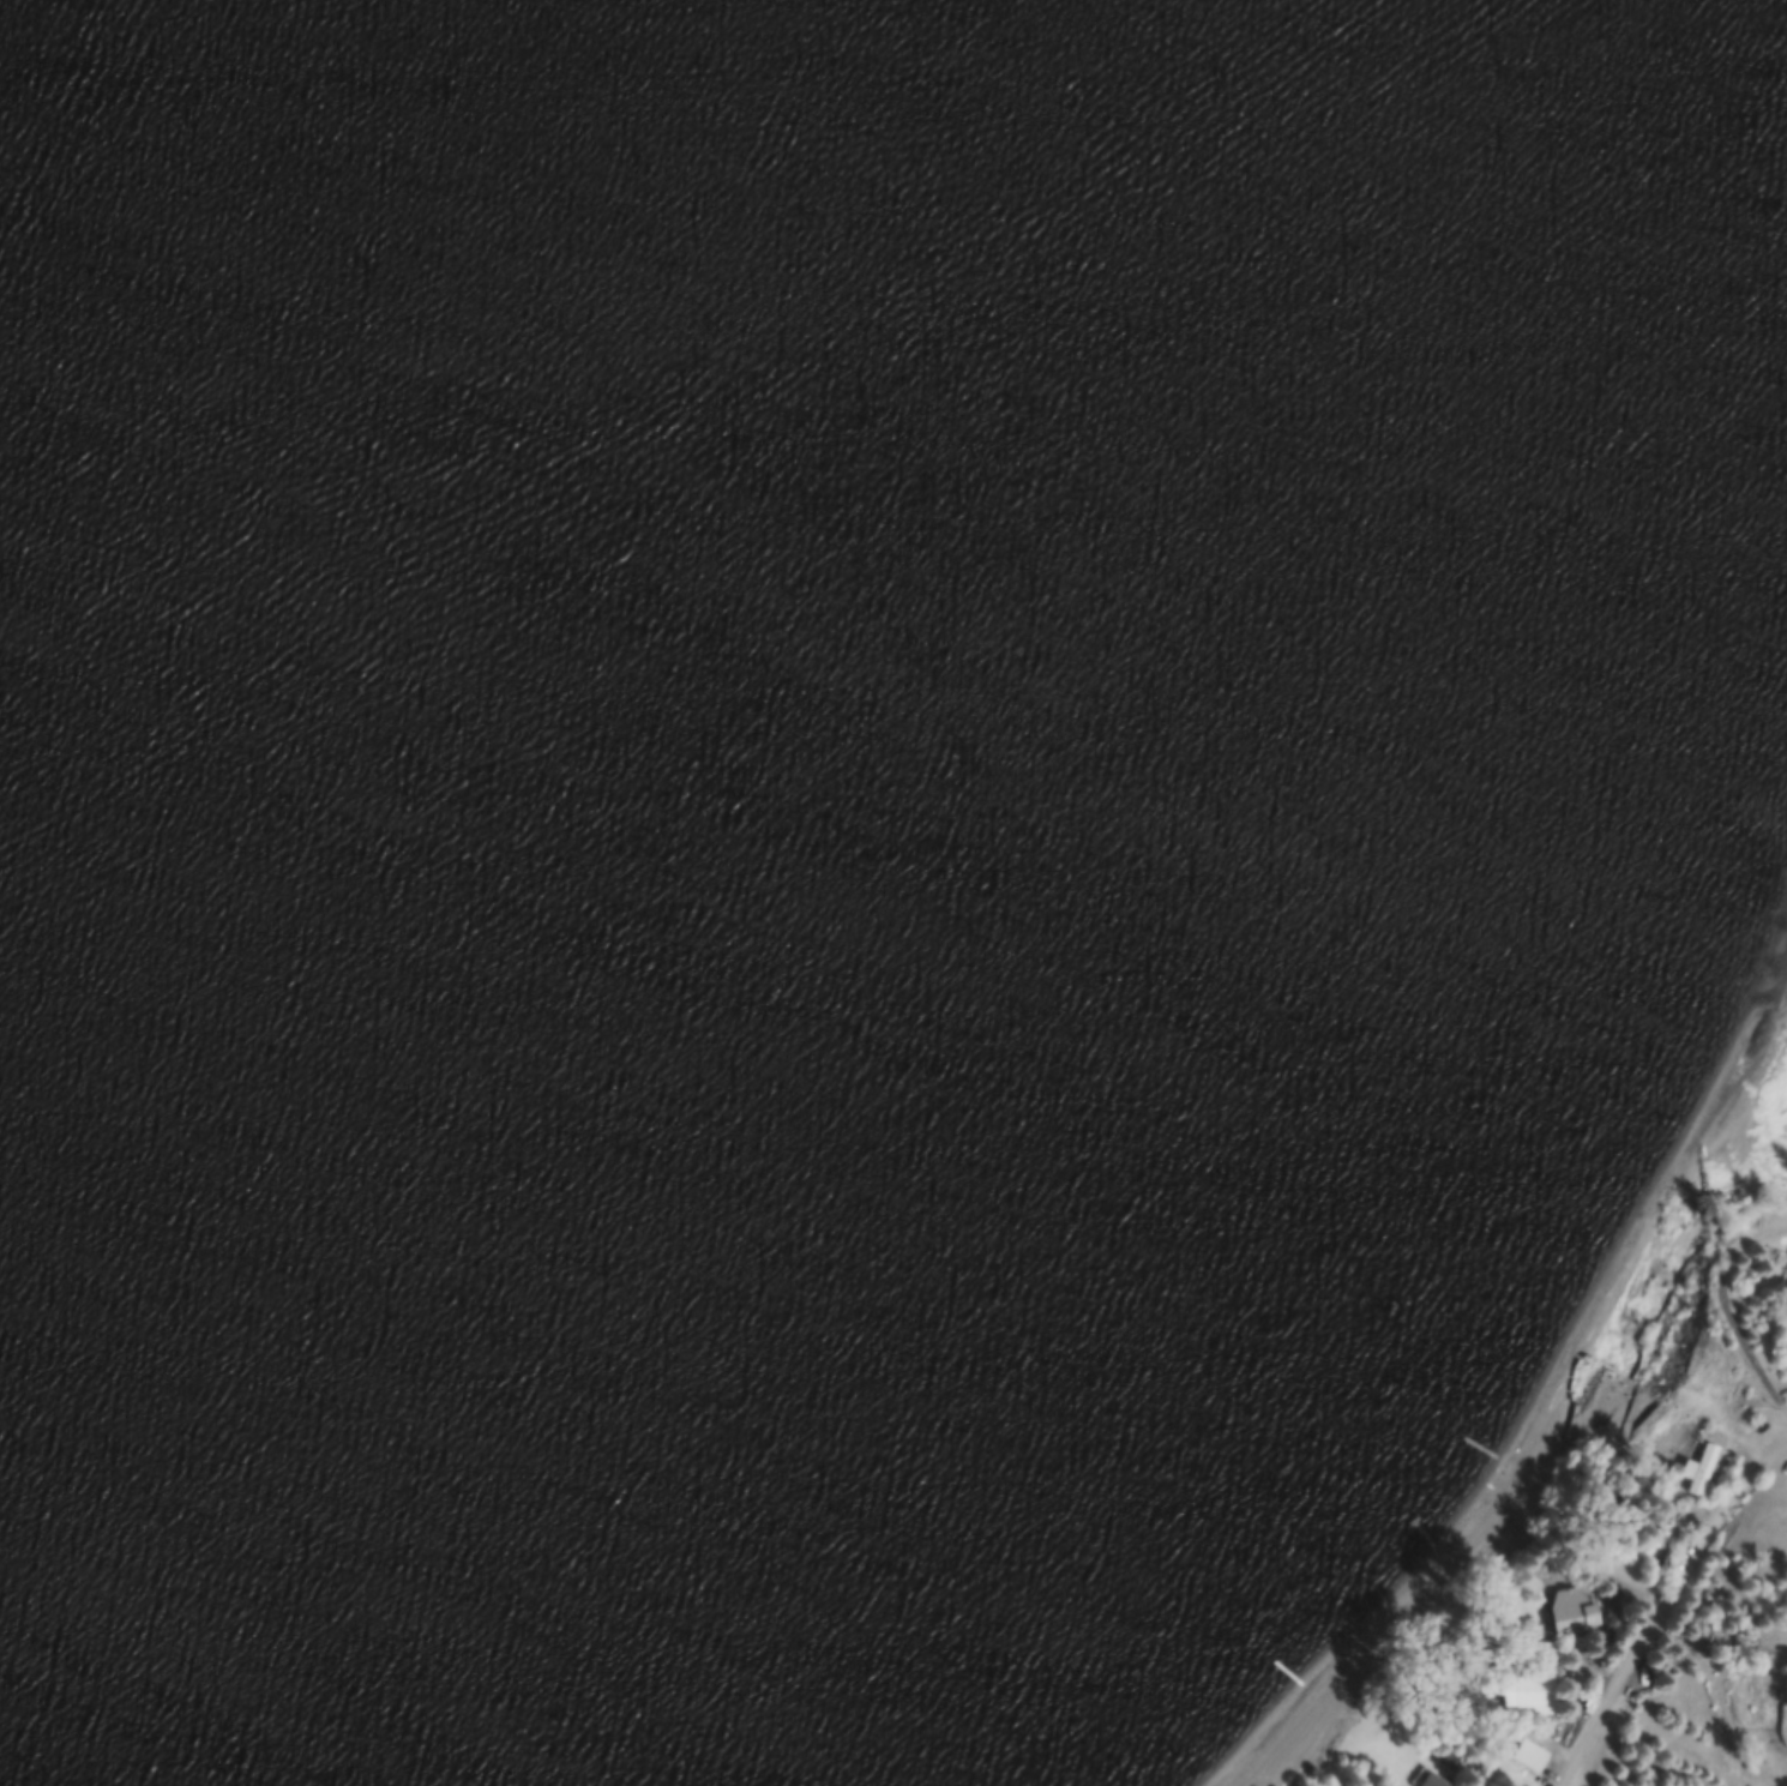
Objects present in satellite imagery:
building: (1785, 1285)
road: (1726, 1321)
building: (1696, 1468)
building: (1568, 1610)
road: (1666, 1612)
building: (1524, 1694)
building: (1527, 1754)
building: (1445, 1757)
building: (1432, 1780)

